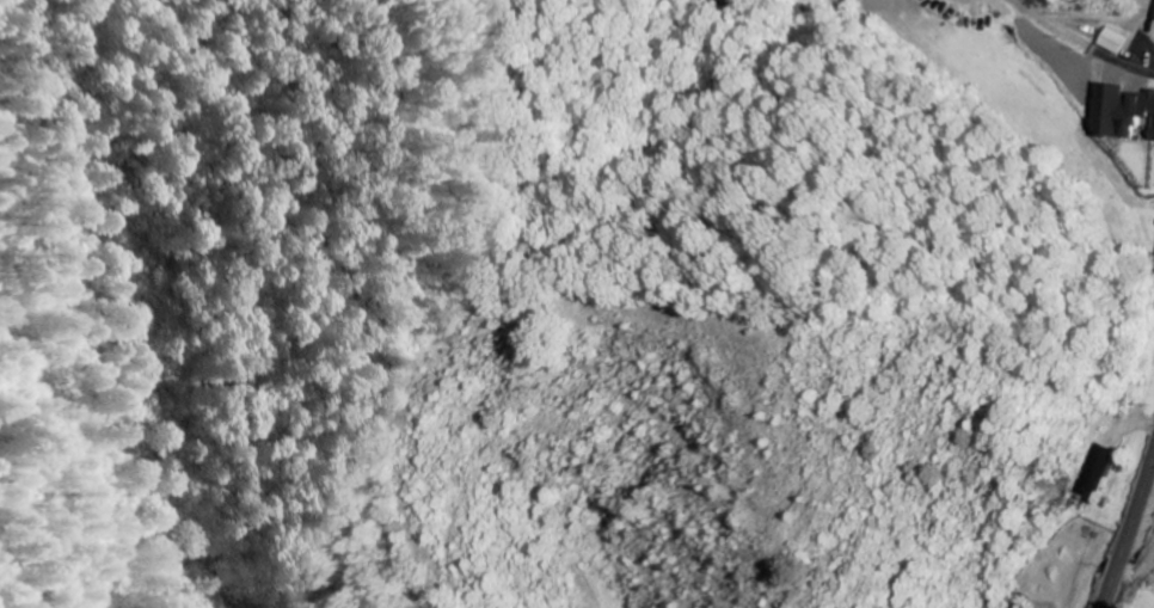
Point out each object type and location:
building: (1112, 43)
road: (1079, 44)
building: (1124, 115)
building: (1093, 471)
road: (1138, 512)
road: (1117, 588)
building: (1024, 607)

